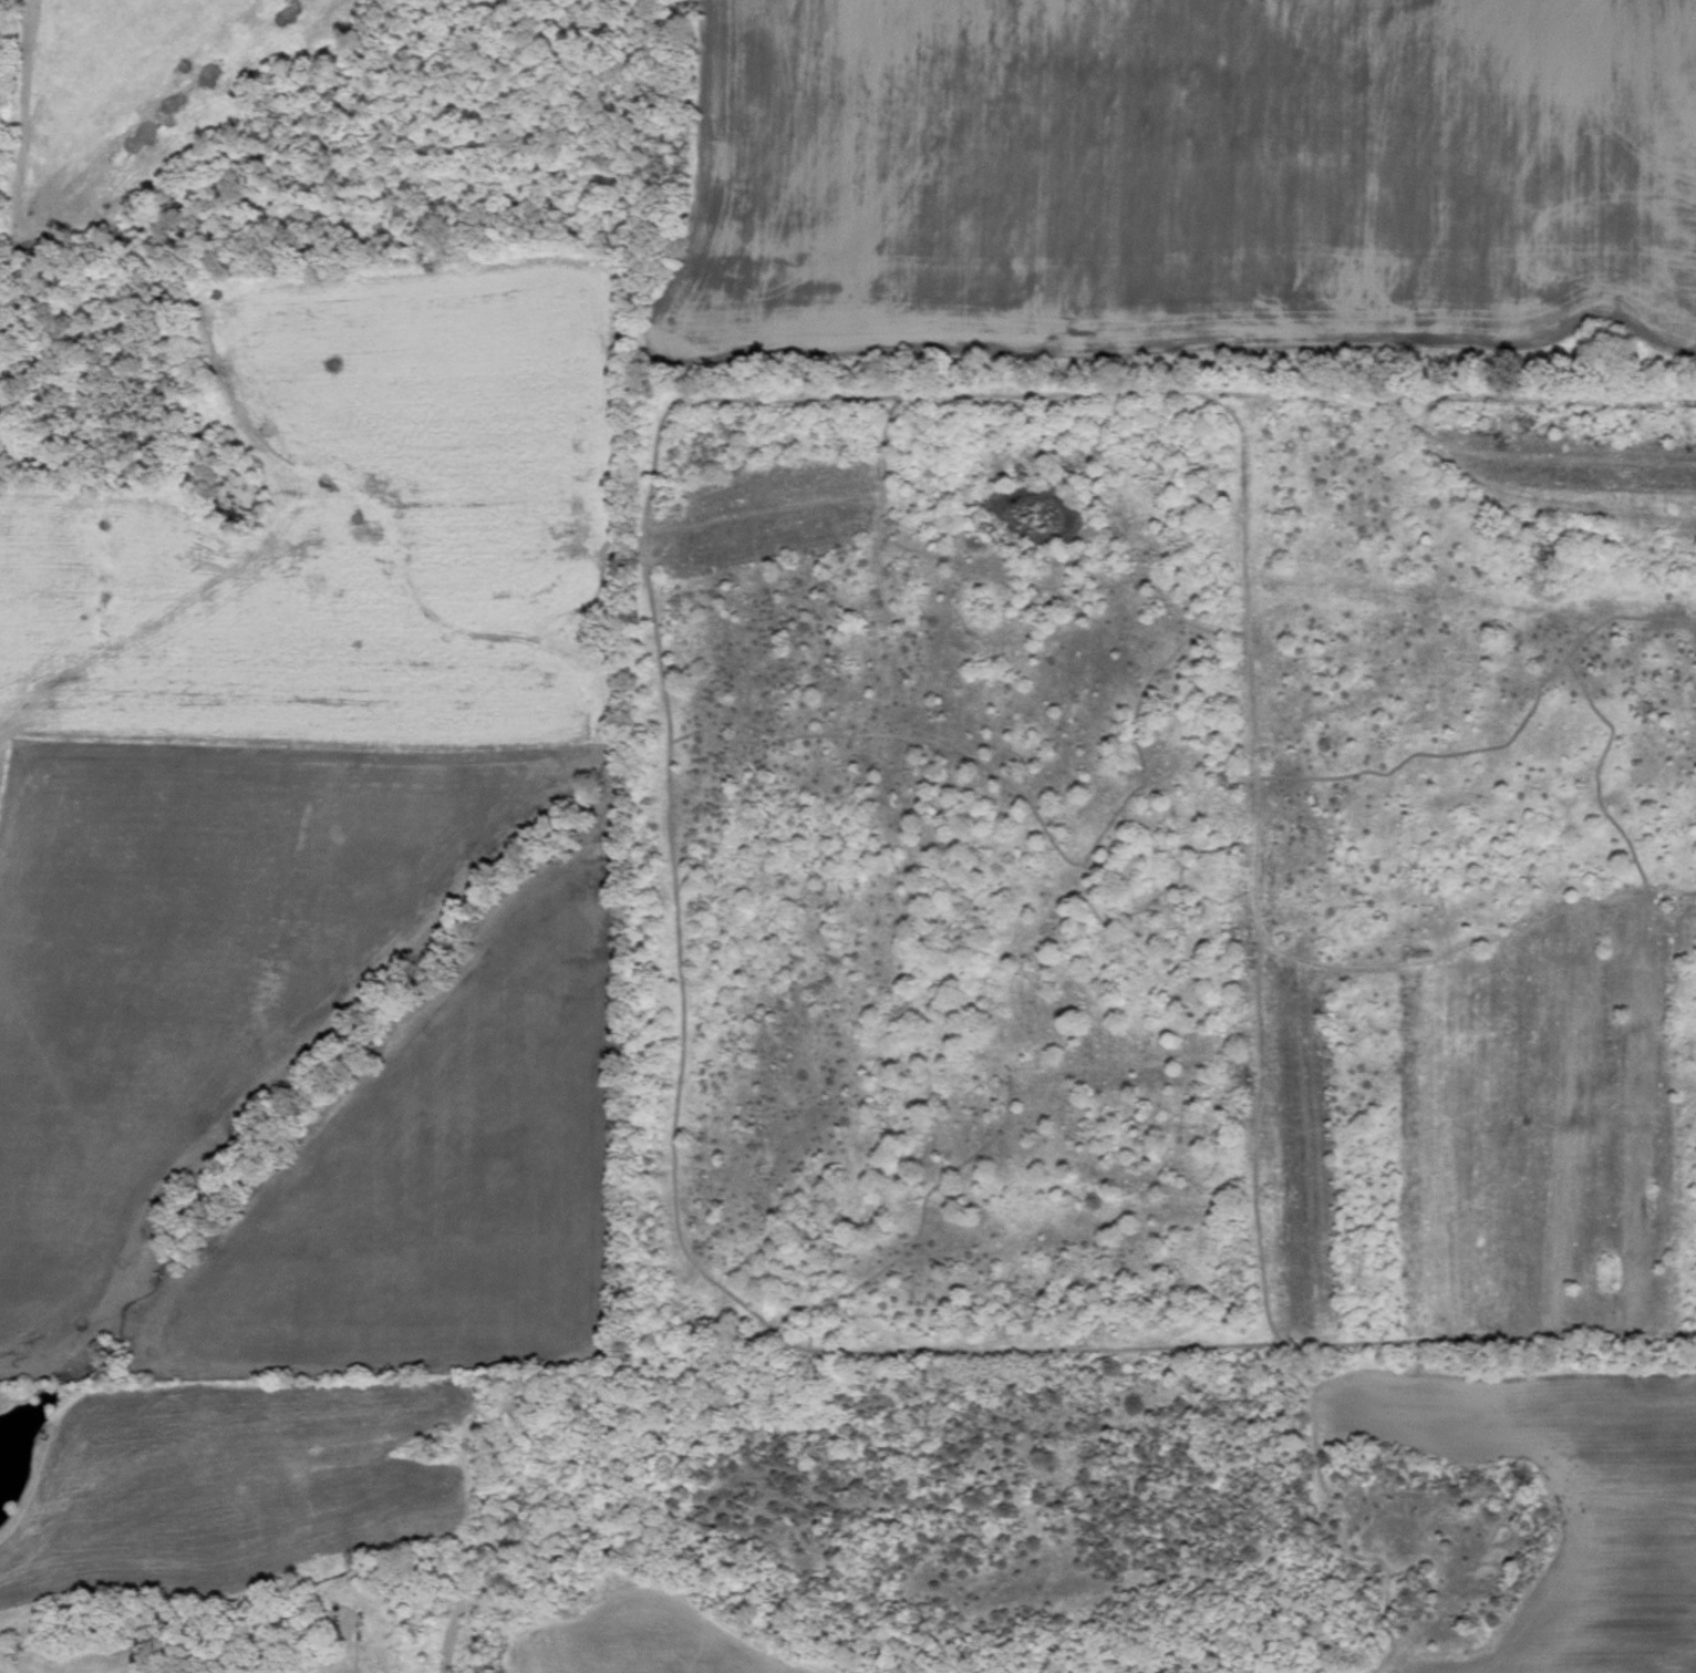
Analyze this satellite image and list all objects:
road: (3, 1667)

